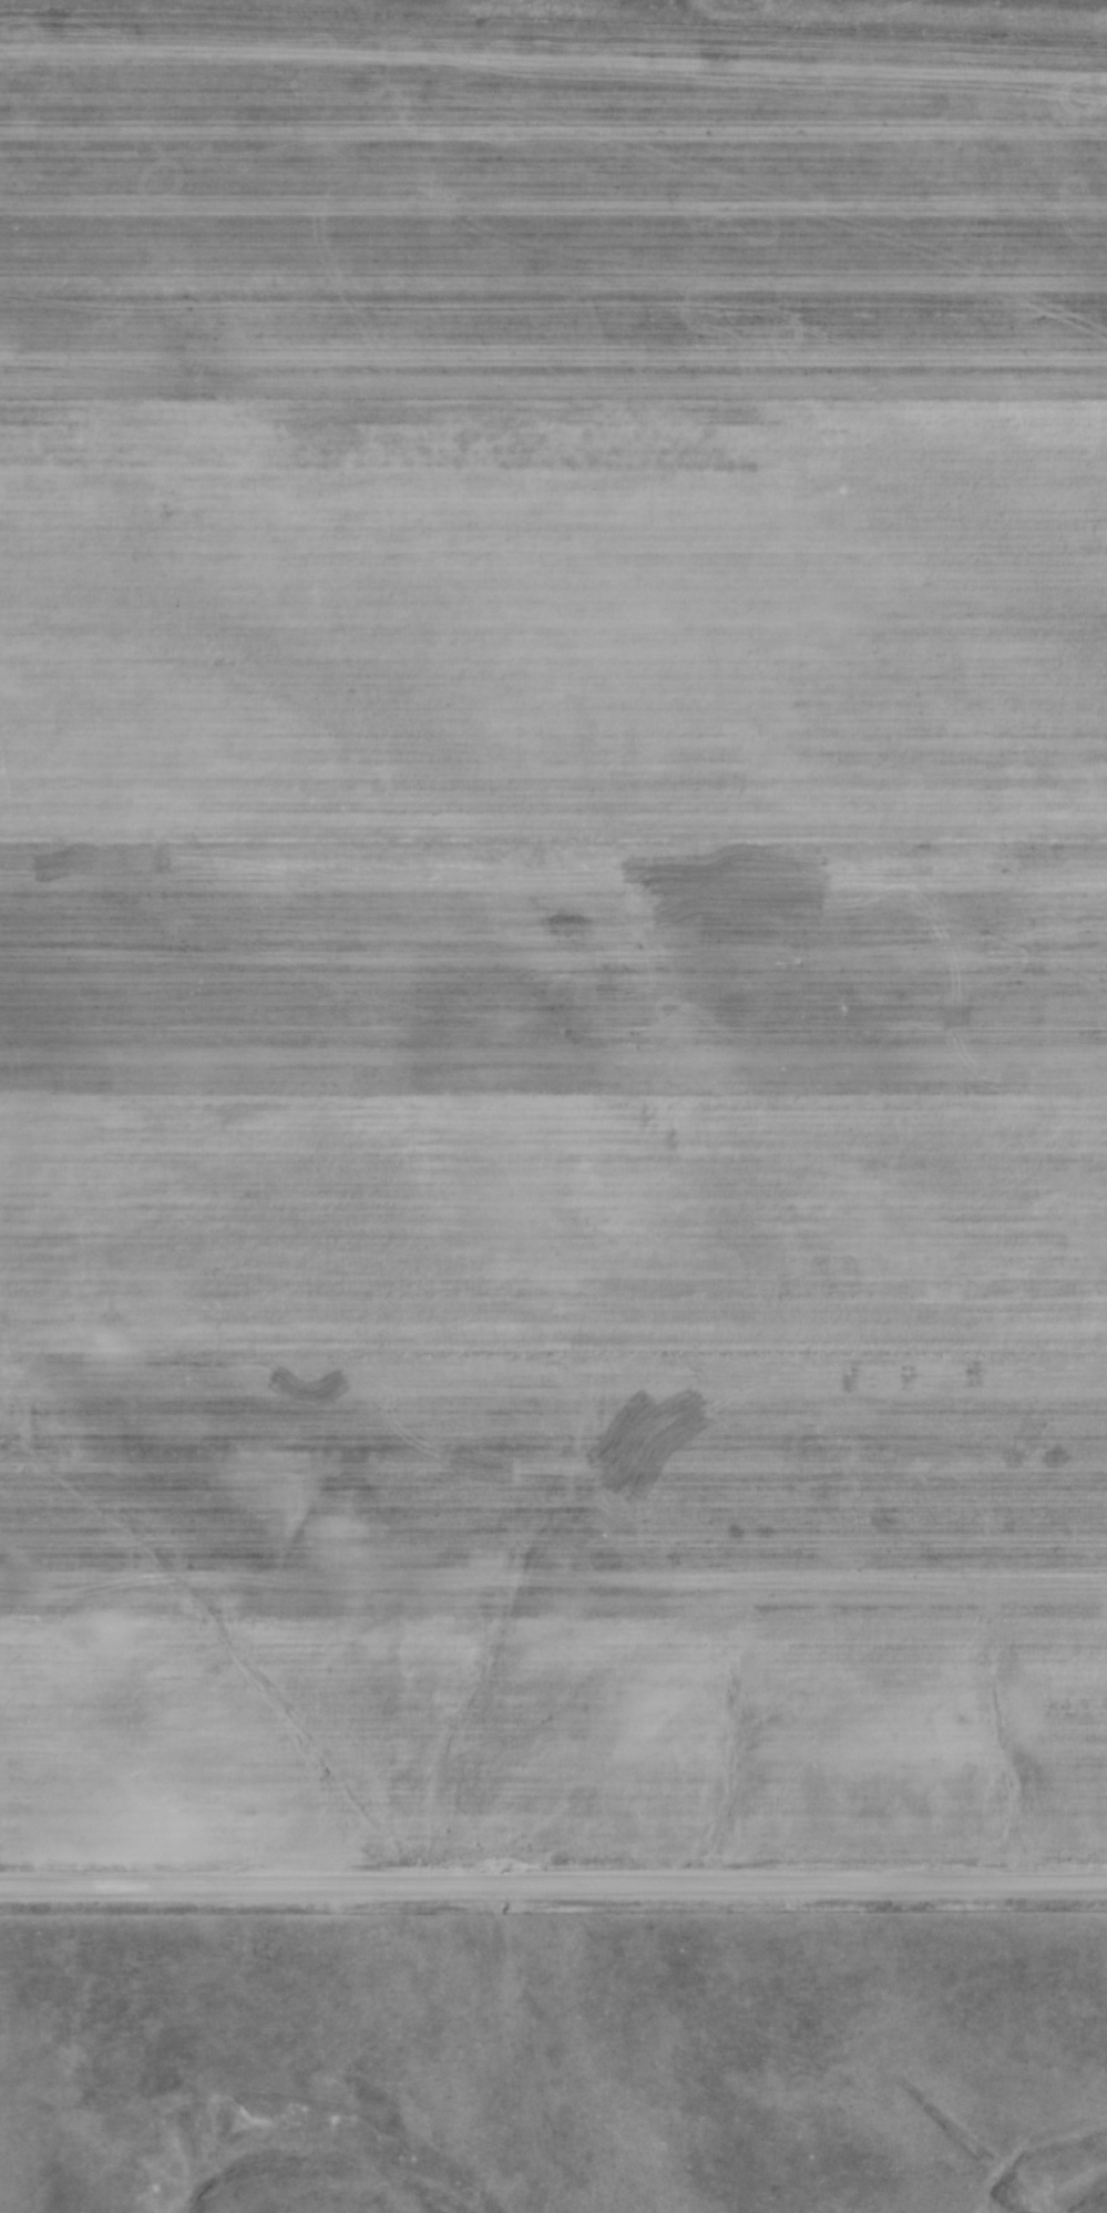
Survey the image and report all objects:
crop: (551, 946)
road: (553, 1889)

